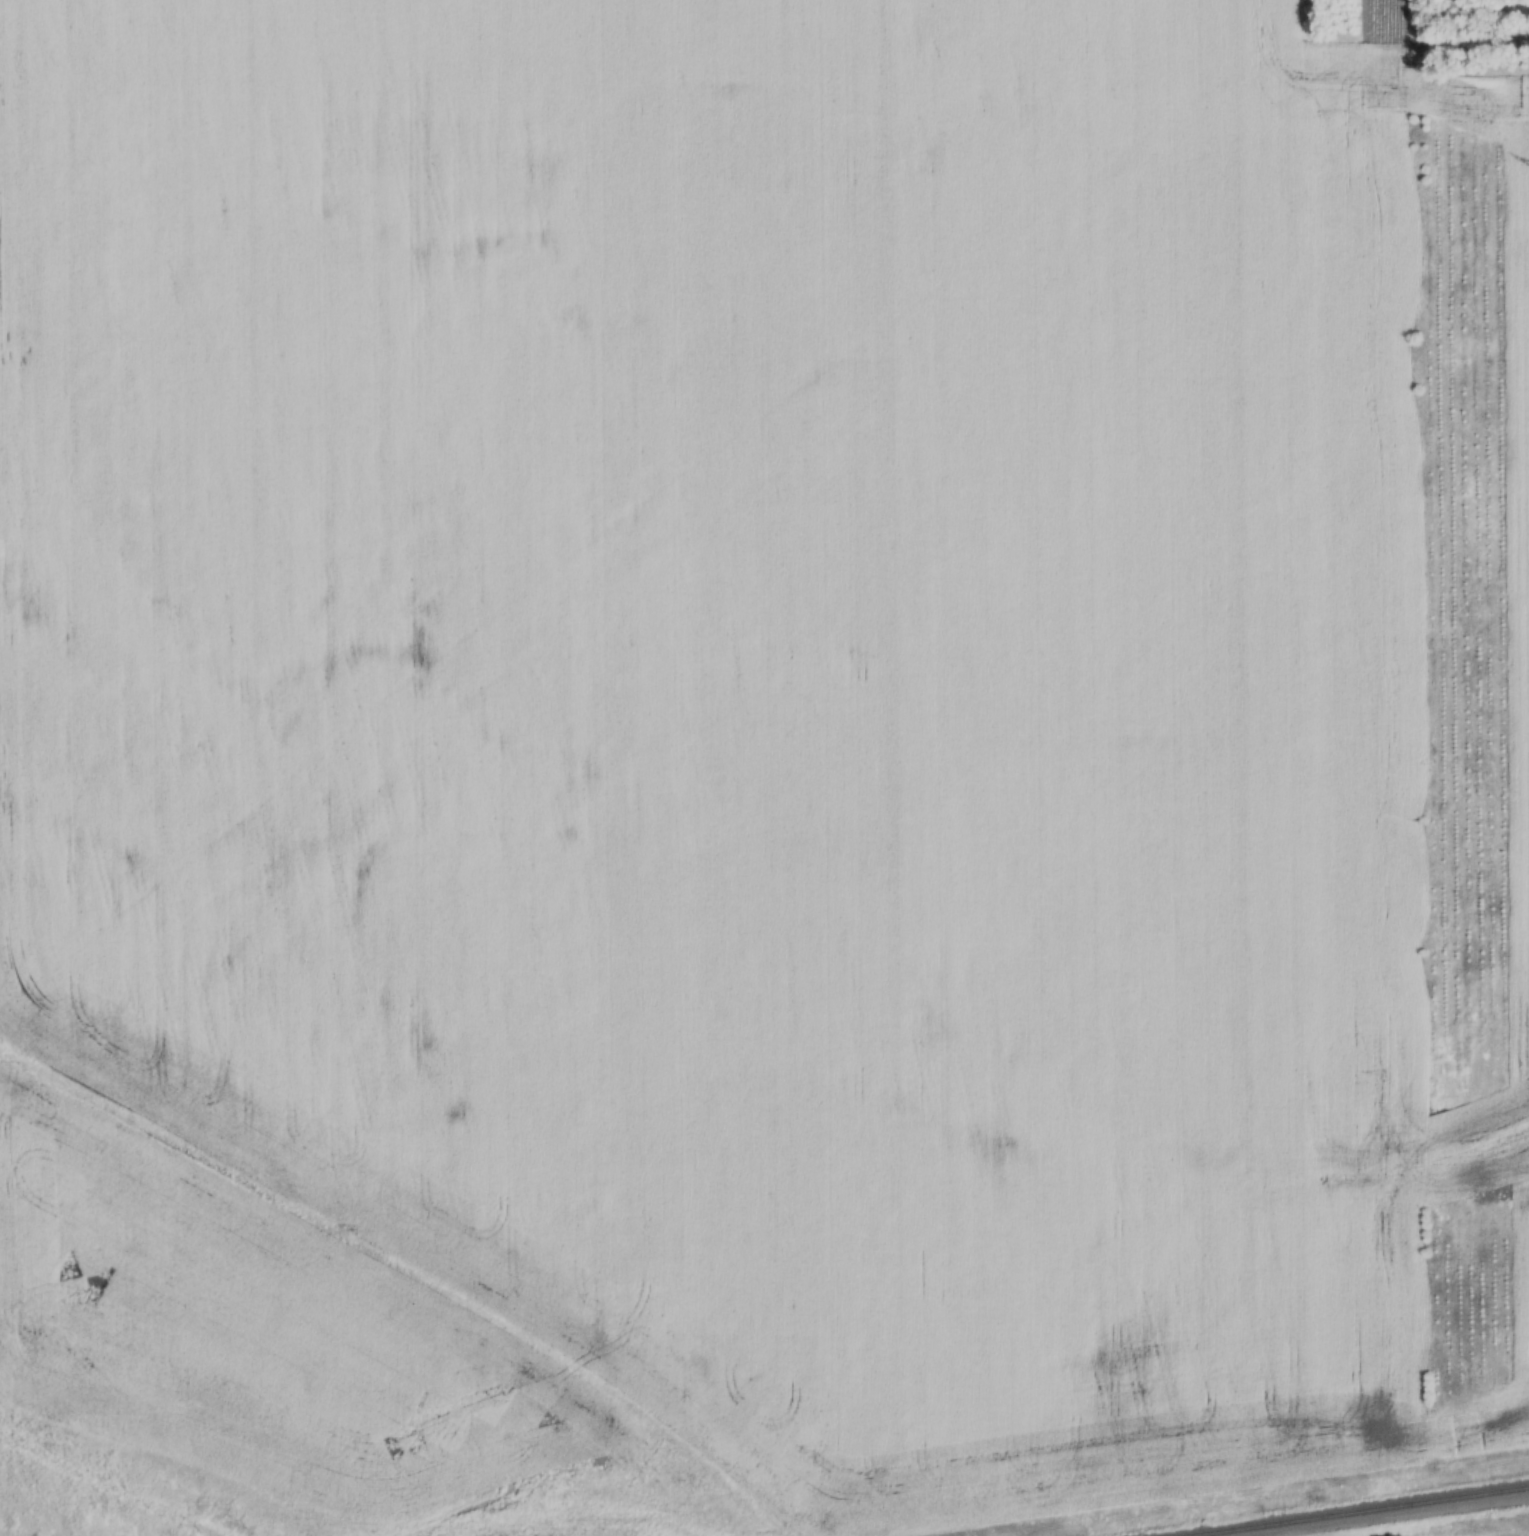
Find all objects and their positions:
railway: (1362, 1512)

